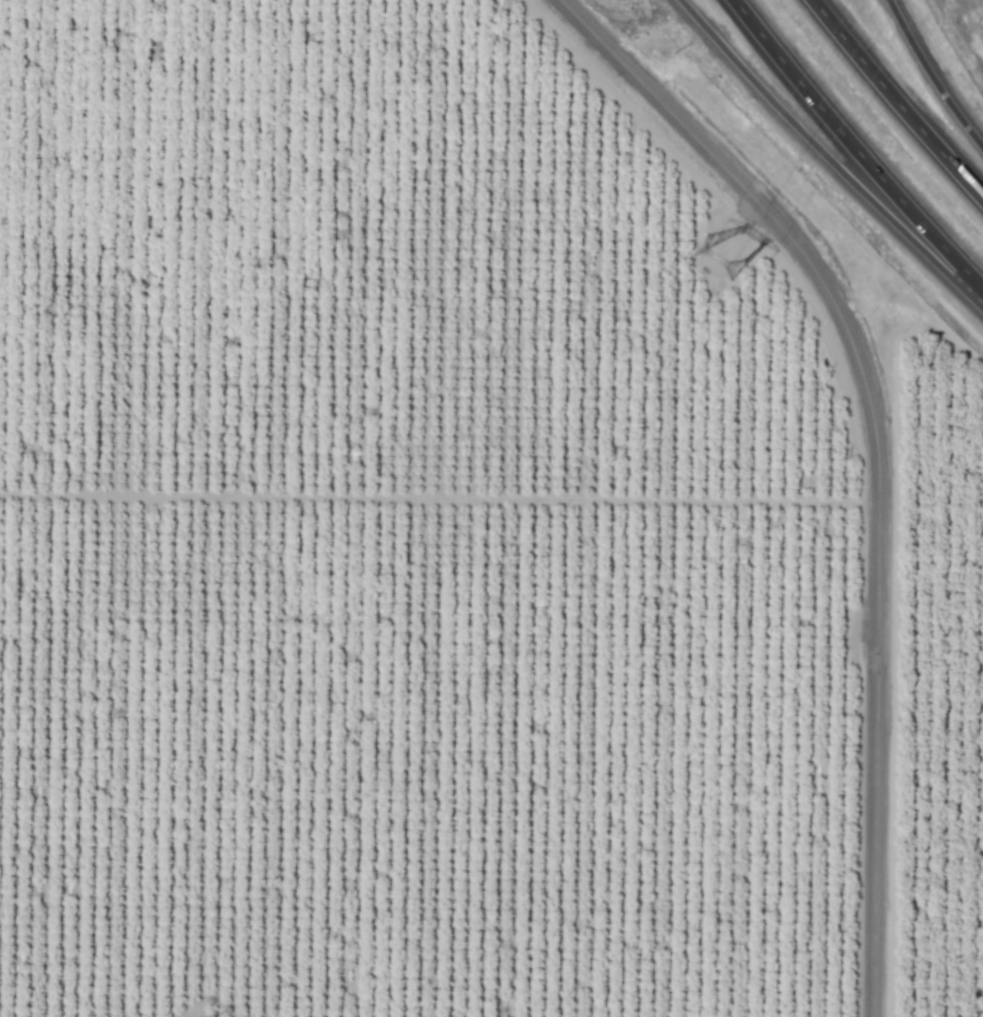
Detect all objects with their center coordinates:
road: (938, 71)
road: (898, 97)
road: (857, 148)
road: (822, 156)
power tower: (733, 264)
road: (882, 450)

